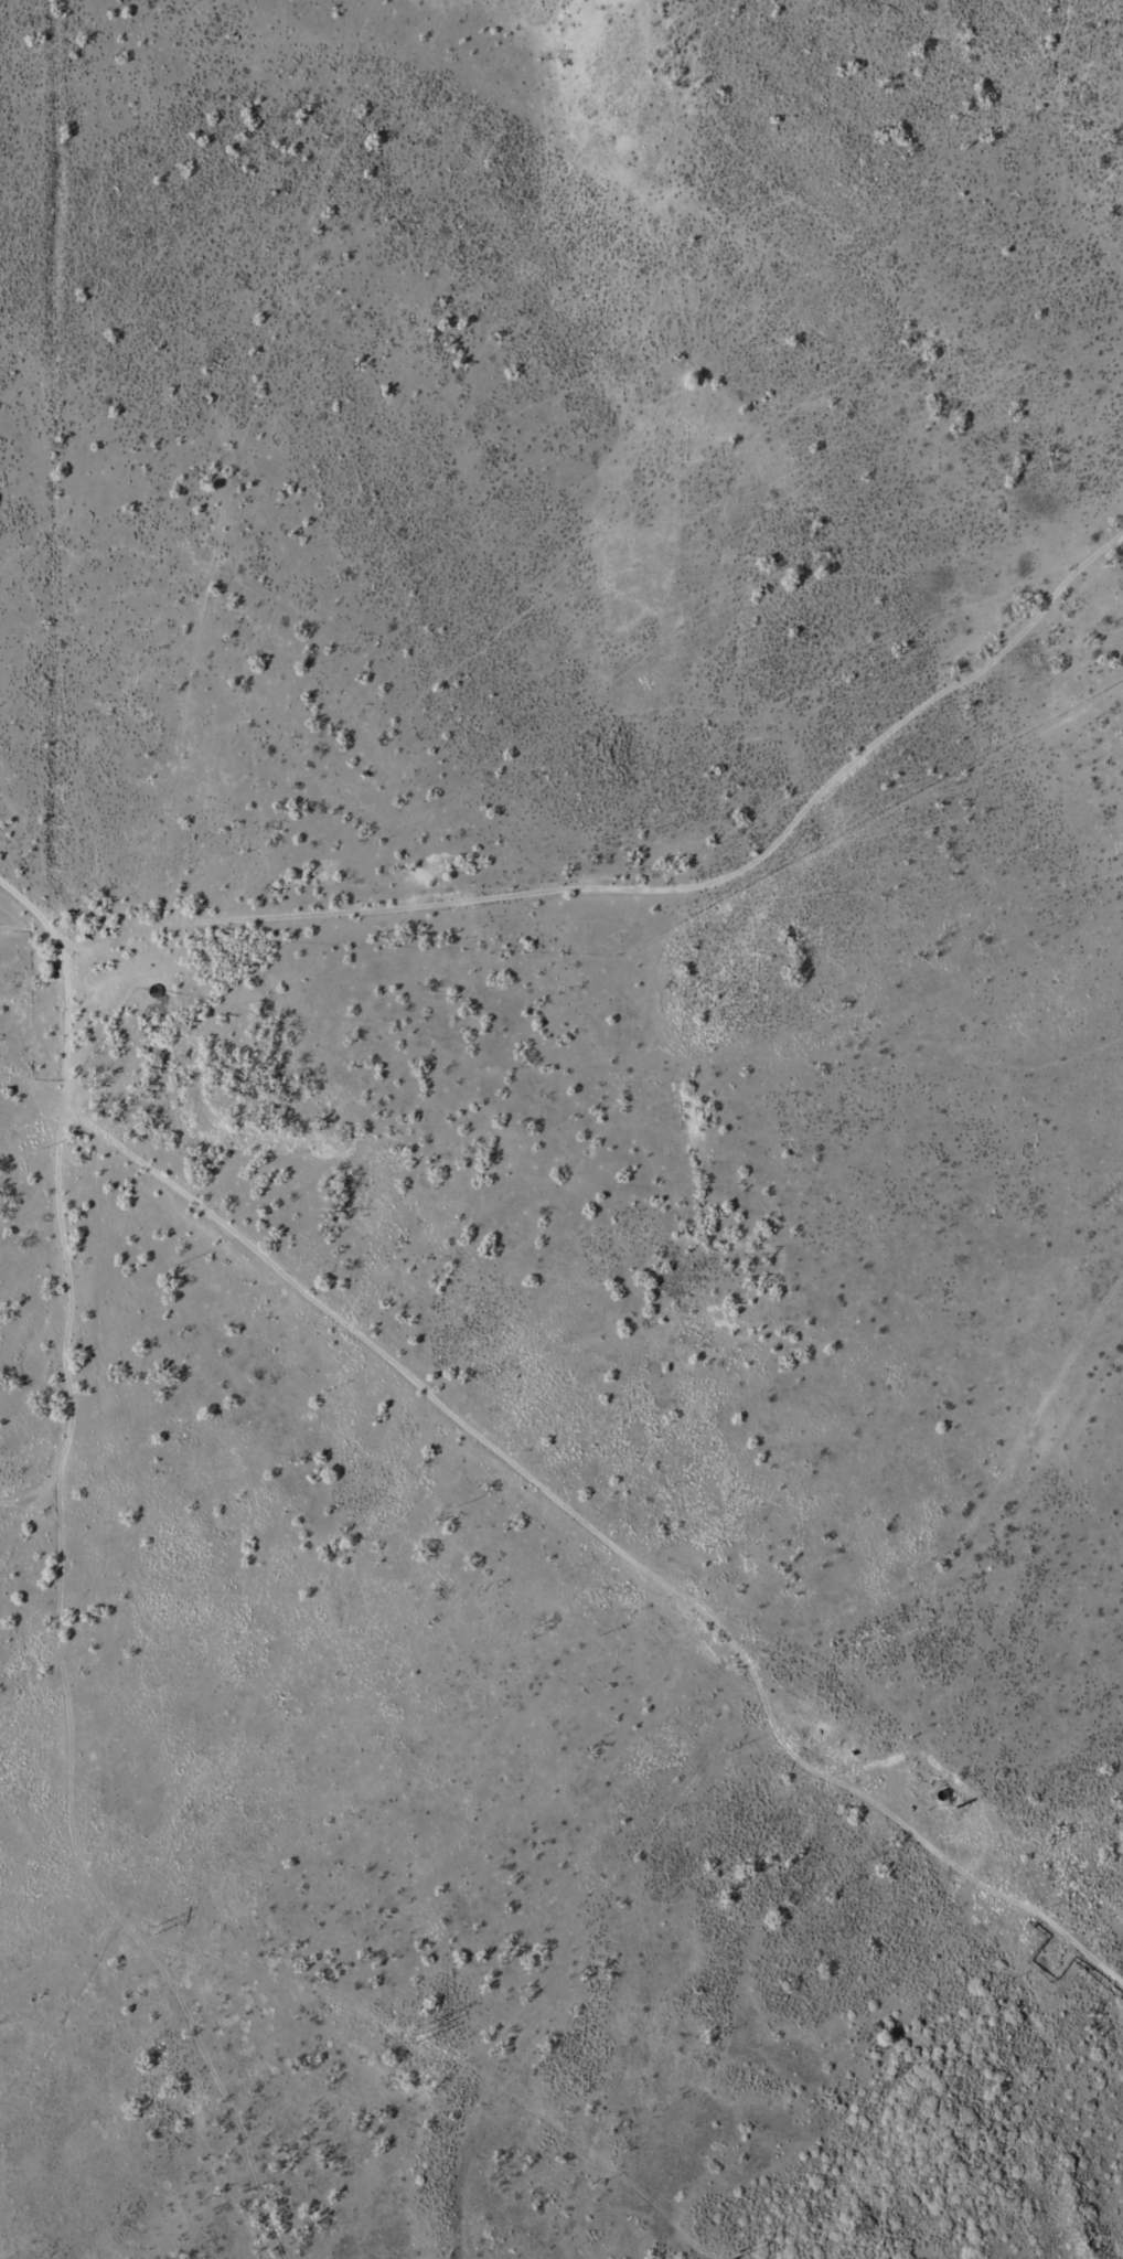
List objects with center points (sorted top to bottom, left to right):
power tower: (152, 1930)
power tower: (417, 2033)
power tower: (736, 2255)

